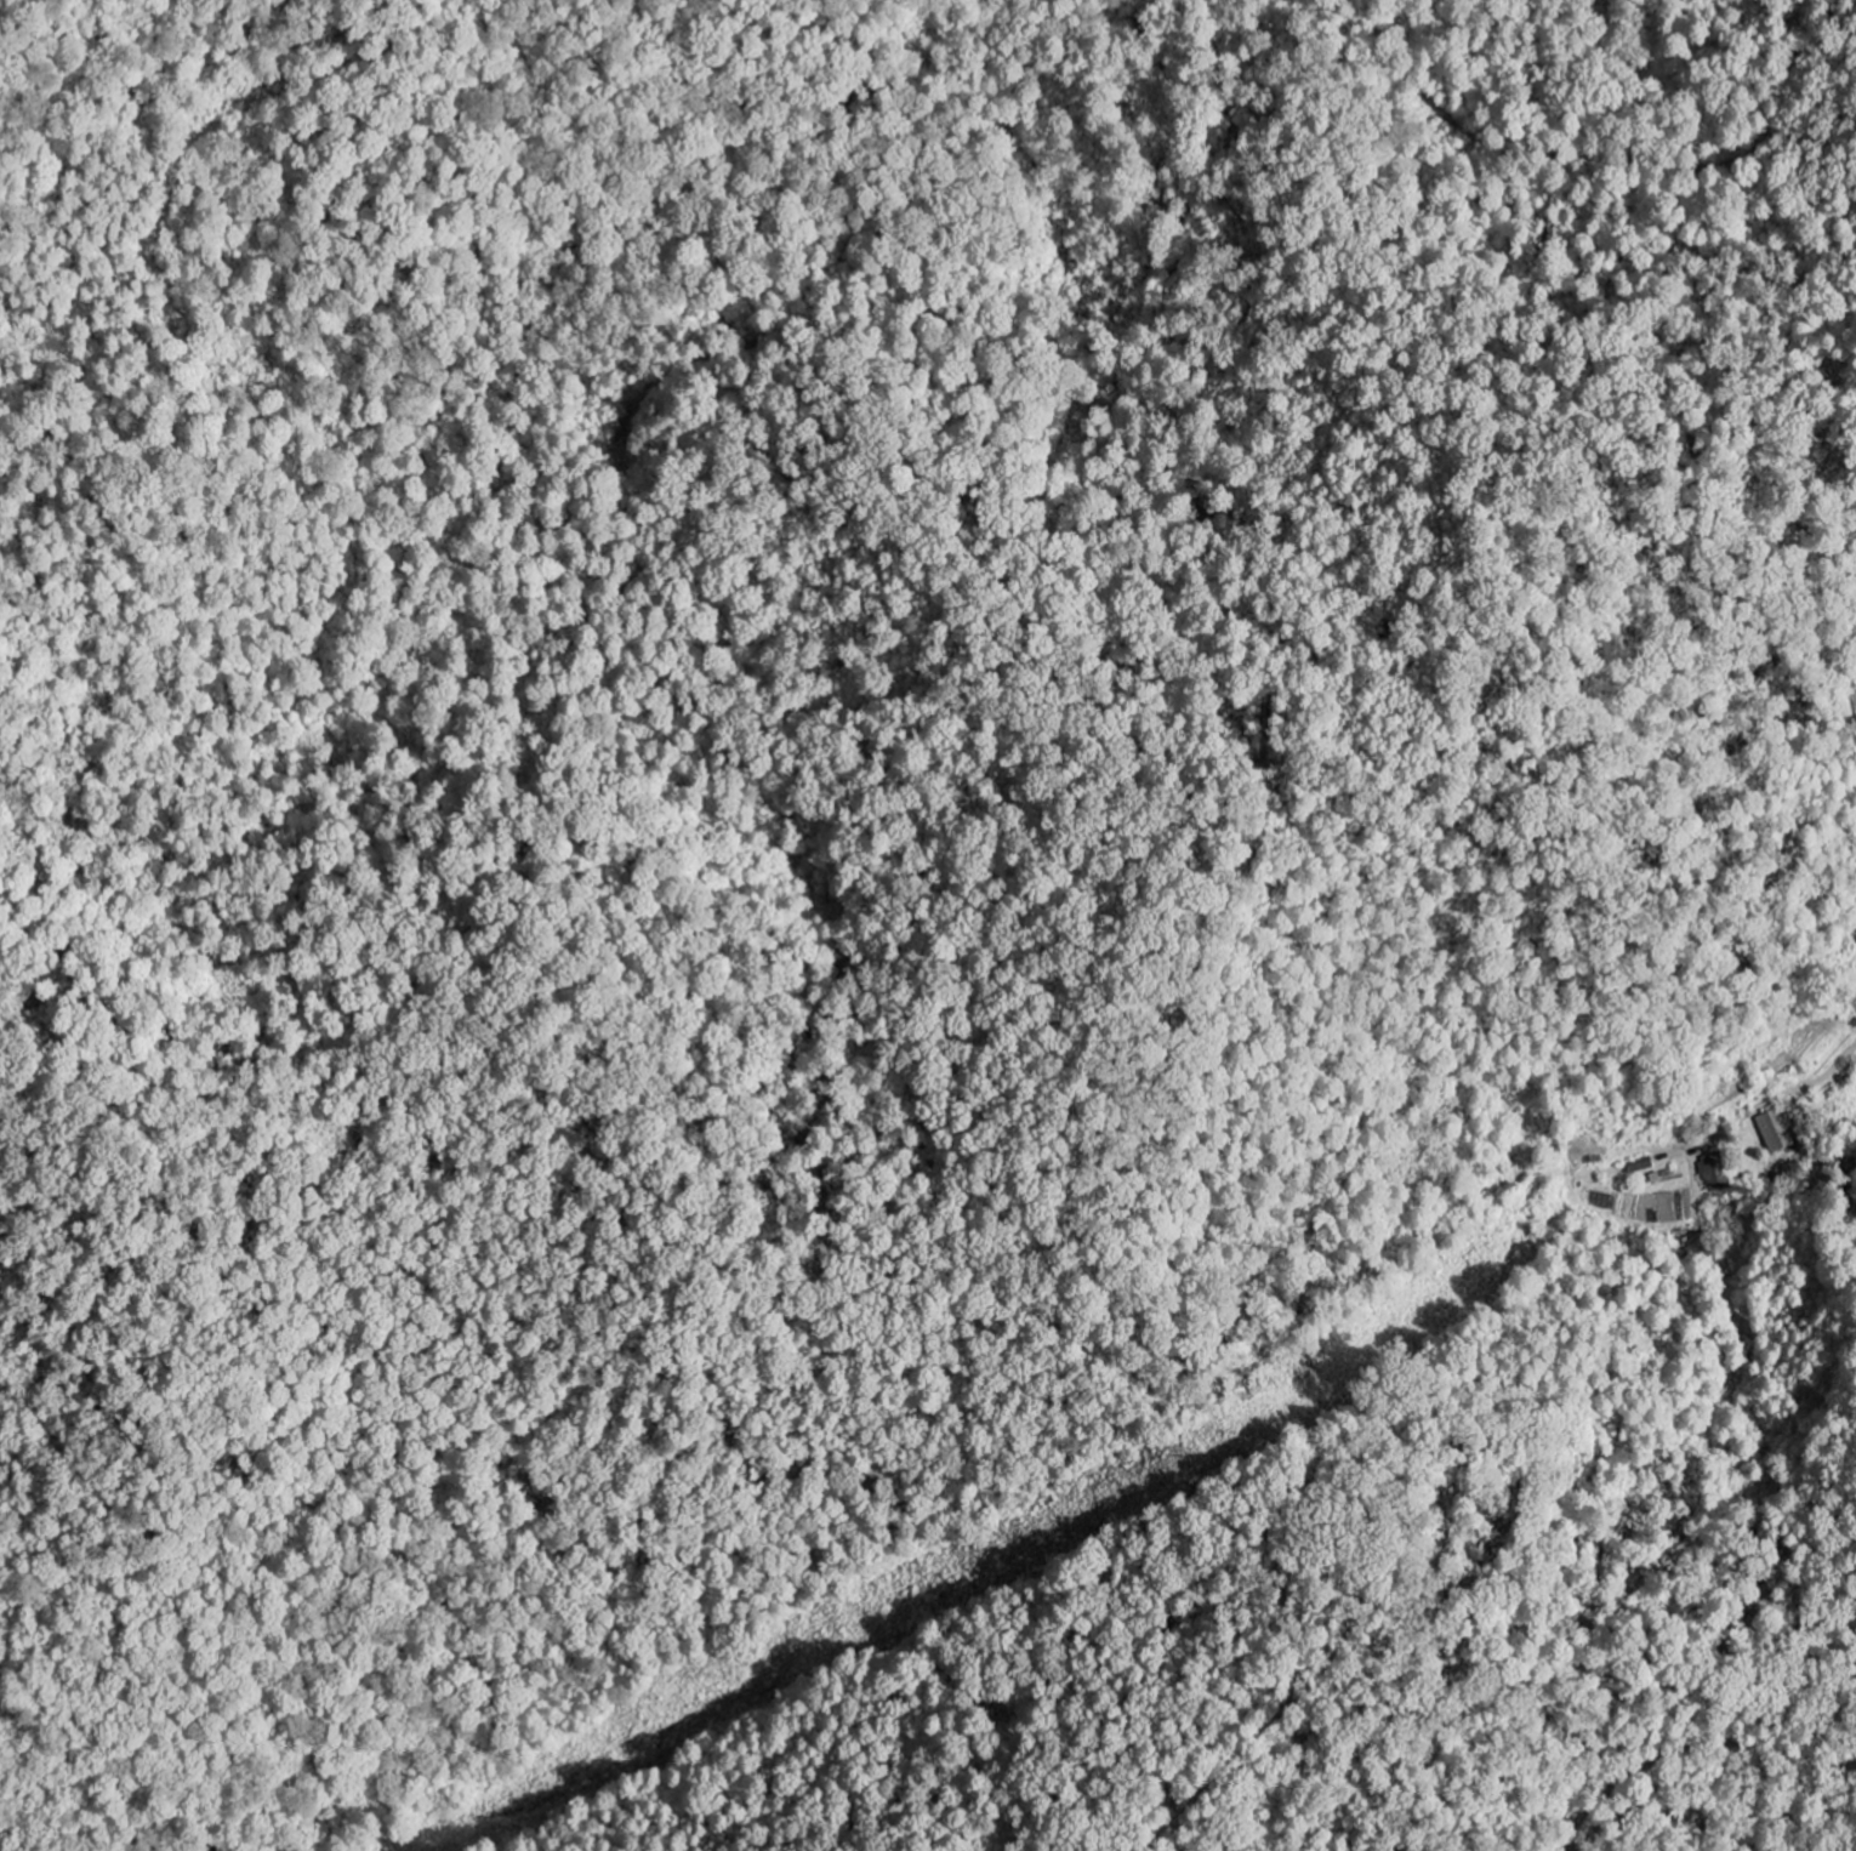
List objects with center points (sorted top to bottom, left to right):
building: (1774, 1129)
building: (1715, 1174)
road: (1741, 1793)

